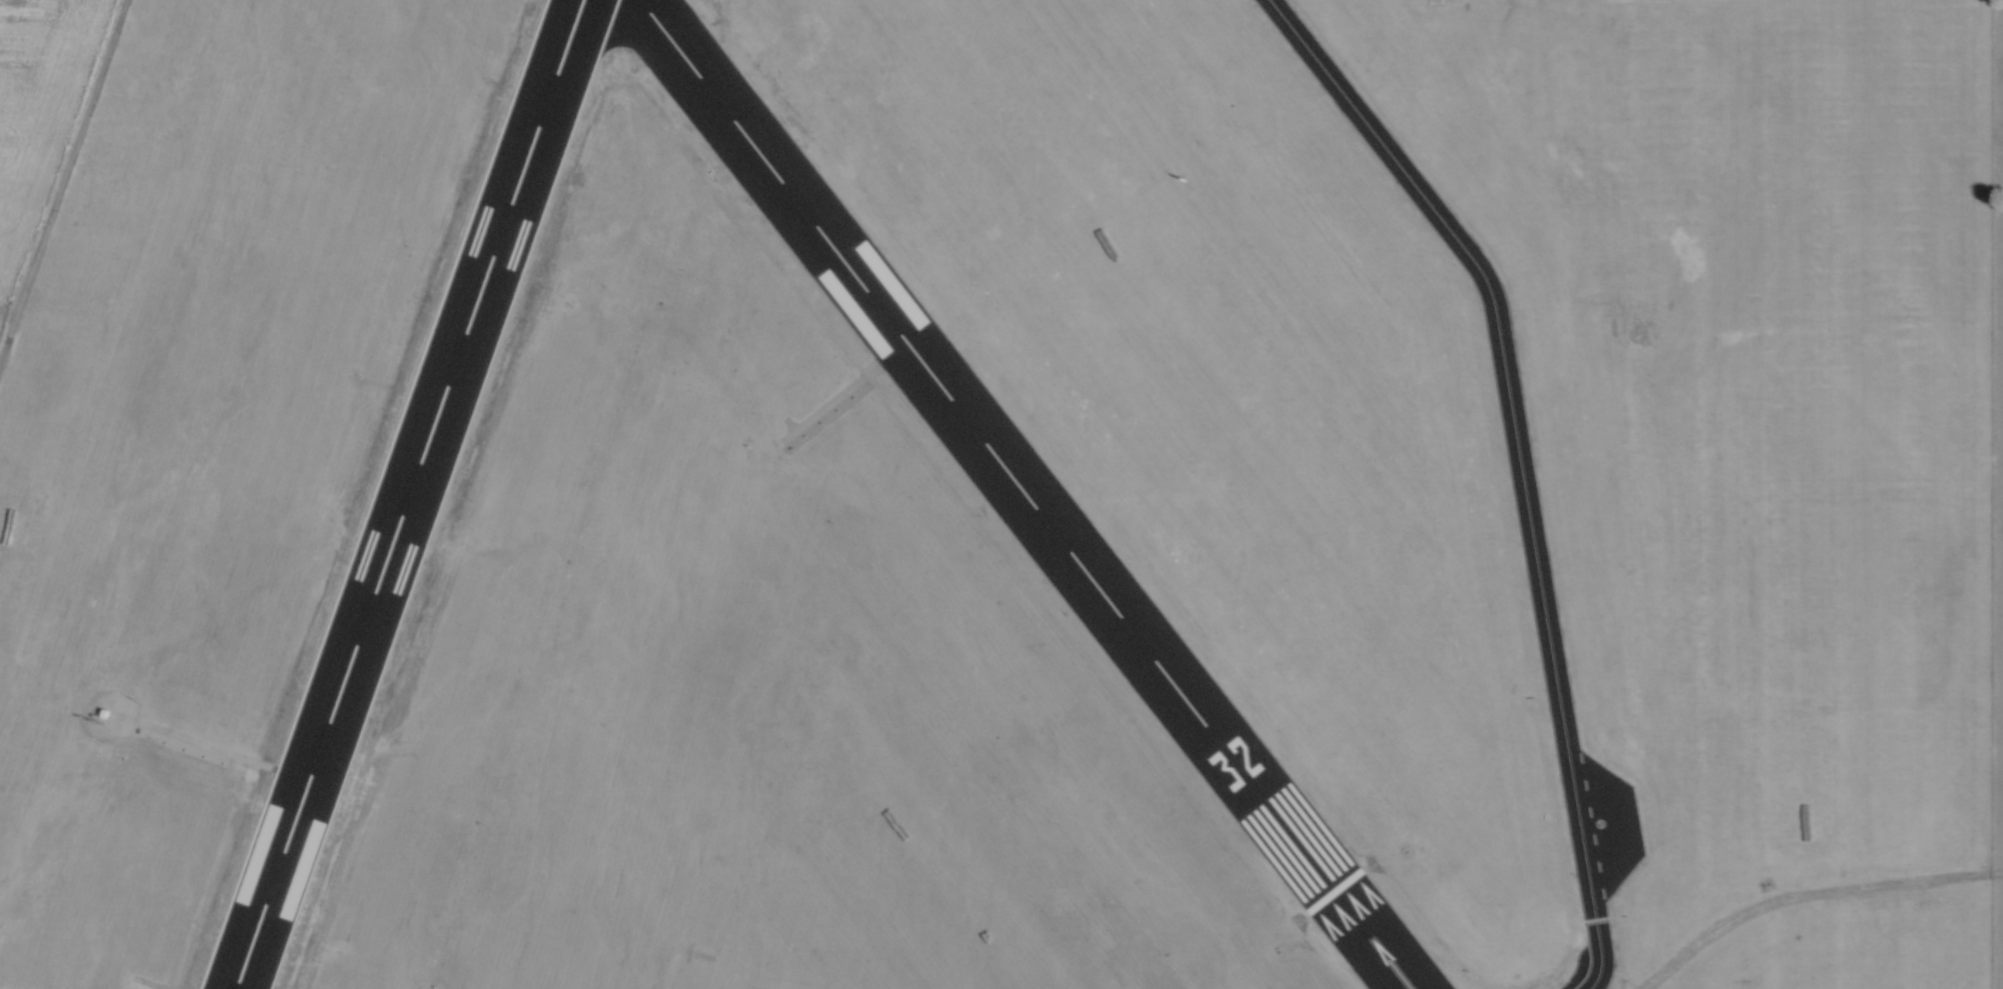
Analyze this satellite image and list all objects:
road: (61, 173)
airport taxiway: (1515, 460)
airport runway: (404, 494)
airport: (1001, 494)
airport runway: (1021, 494)
building: (1319, 882)
road: (1805, 892)

